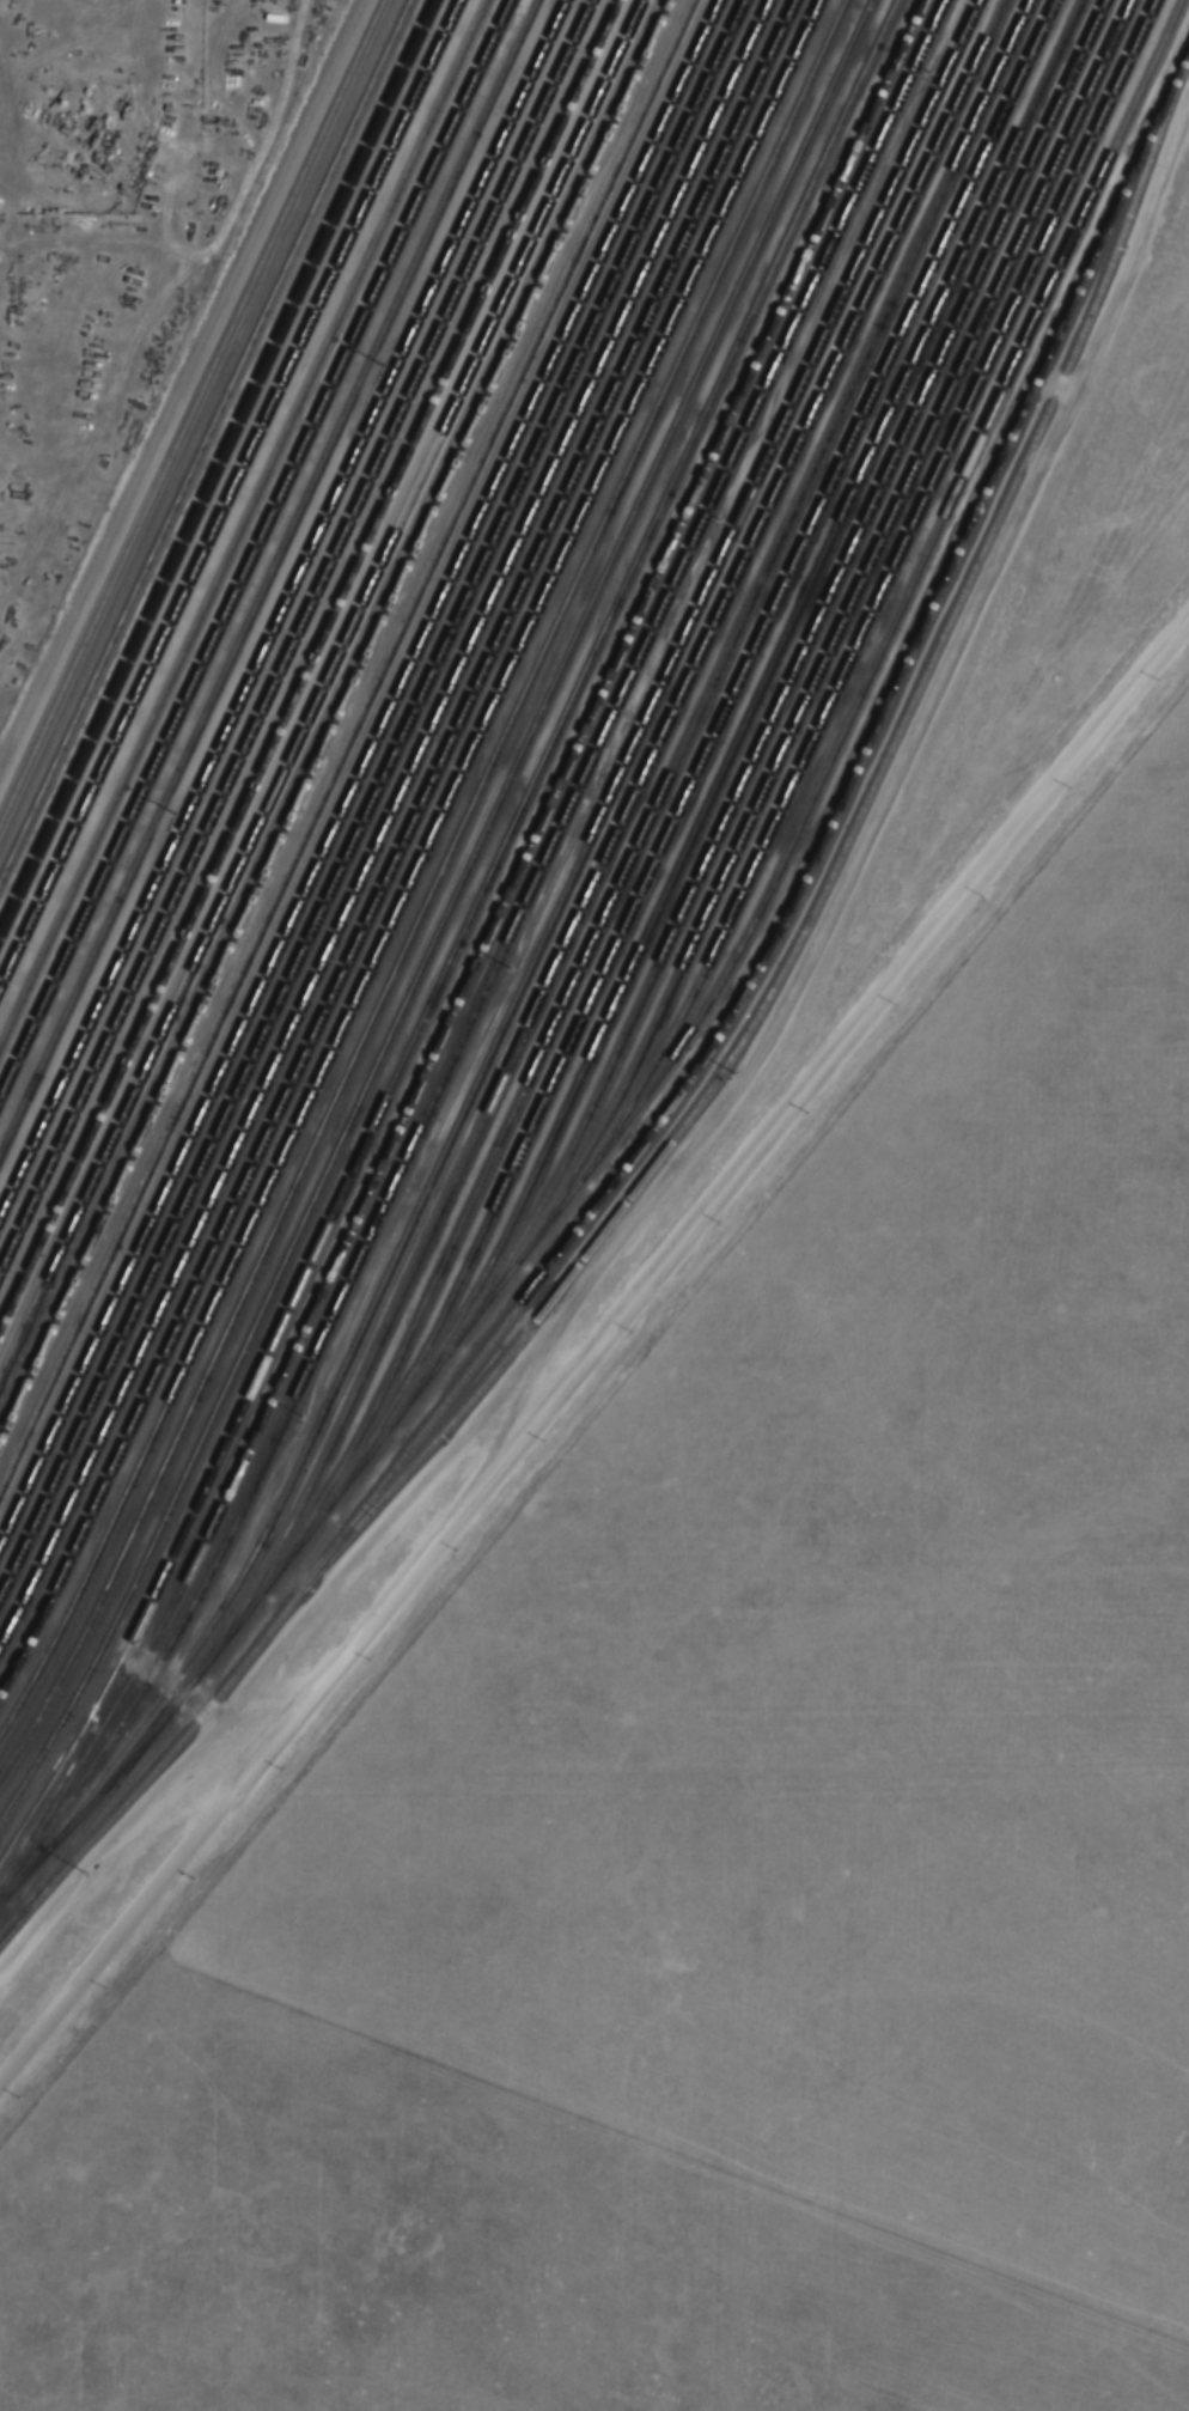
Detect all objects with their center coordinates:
railway: (1182, 67)
building: (1098, 128)
road: (270, 133)
road: (1132, 244)
road: (178, 299)
road: (1049, 380)
road: (179, 385)
railway: (194, 416)
railway: (207, 444)
railway: (215, 465)
railway: (230, 495)
railway: (242, 520)
railway: (254, 547)
railway: (267, 577)
railway: (880, 591)
railway: (281, 608)
railway: (295, 637)
railway: (835, 637)
building: (530, 652)
railway: (309, 664)
railway: (792, 677)
railway: (321, 689)
building: (512, 698)
railway: (744, 717)
railway: (335, 720)
railway: (346, 743)
railway: (702, 757)
railway: (359, 772)
railway: (660, 792)
railway: (372, 798)
railway: (388, 824)
railway: (614, 833)
railway: (402, 847)
railway: (810, 865)
railway: (416, 871)
railway: (829, 877)
railway: (431, 893)
road: (836, 895)
railway: (762, 903)
railway: (445, 915)
railway: (459, 936)
railway: (501, 949)
railway: (478, 952)
railway: (531, 960)
building: (366, 1079)
road: (727, 1181)
road: (514, 1333)
road: (511, 1414)
road: (368, 1534)
road: (167, 1682)
road: (273, 1697)
road: (242, 1735)
railway: (163, 1758)
railway: (87, 1803)
railway: (87, 1820)
road: (109, 1840)
road: (132, 1916)

